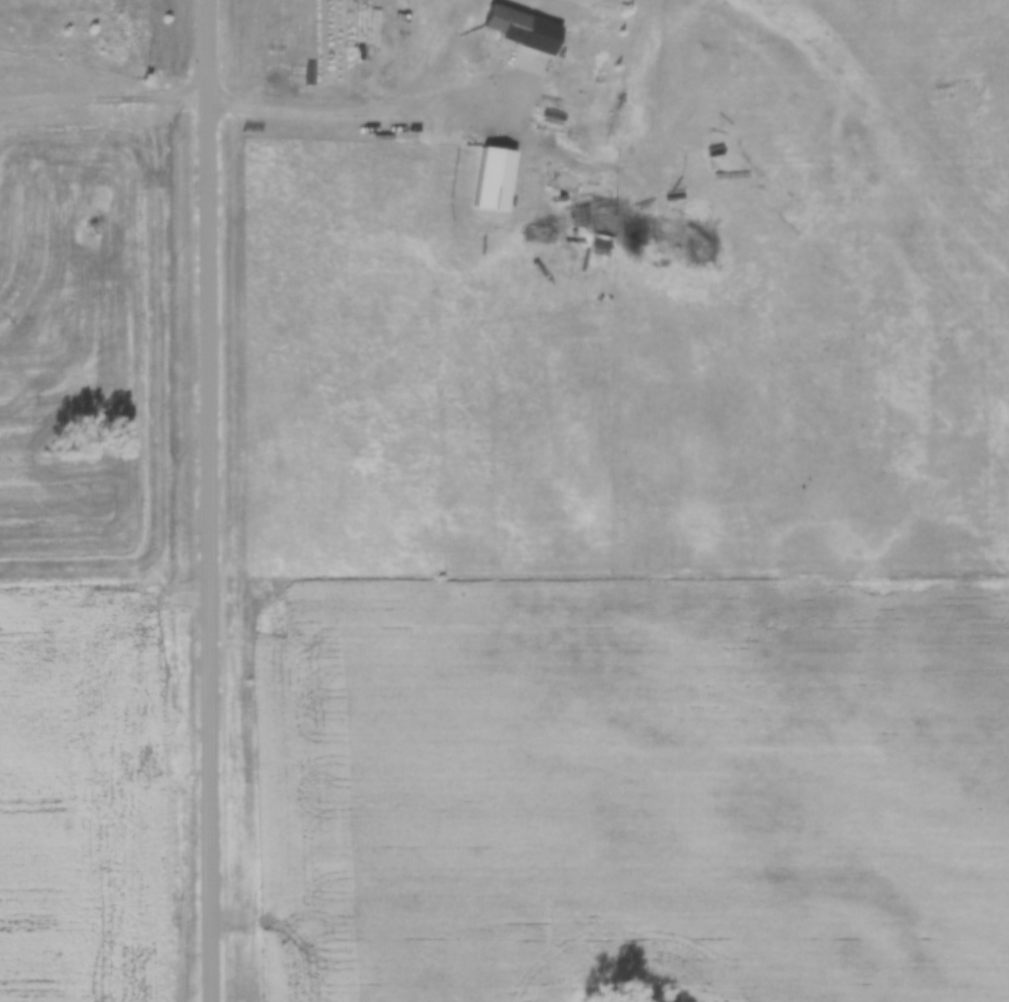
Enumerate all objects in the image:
building: (522, 26)
road: (103, 93)
building: (495, 177)
road: (206, 501)

